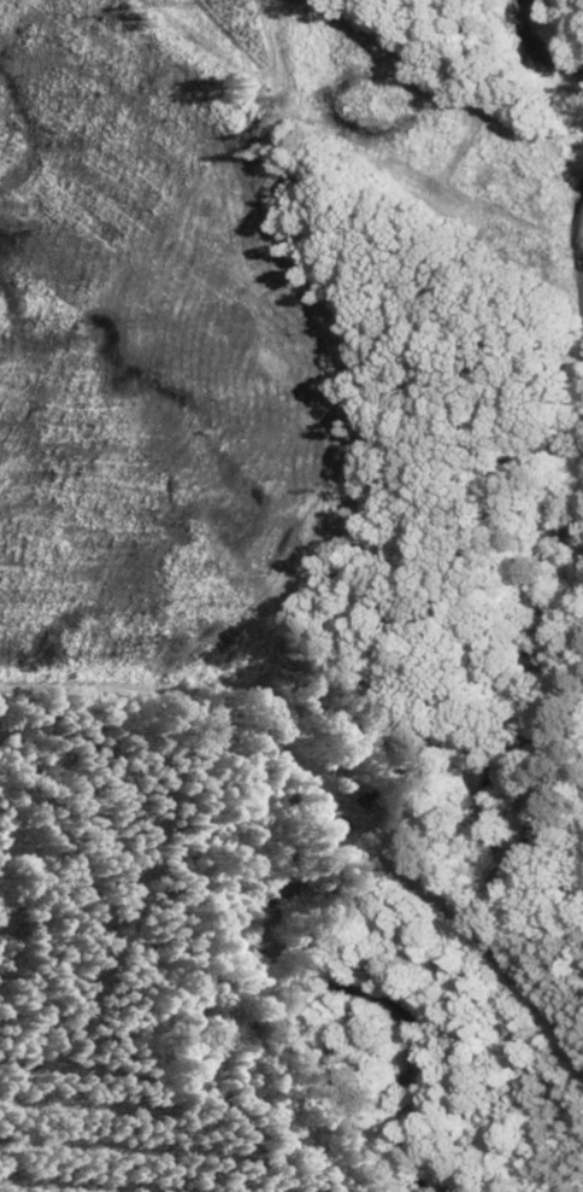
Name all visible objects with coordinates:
road: (178, 691)
road: (349, 814)
road: (479, 940)

